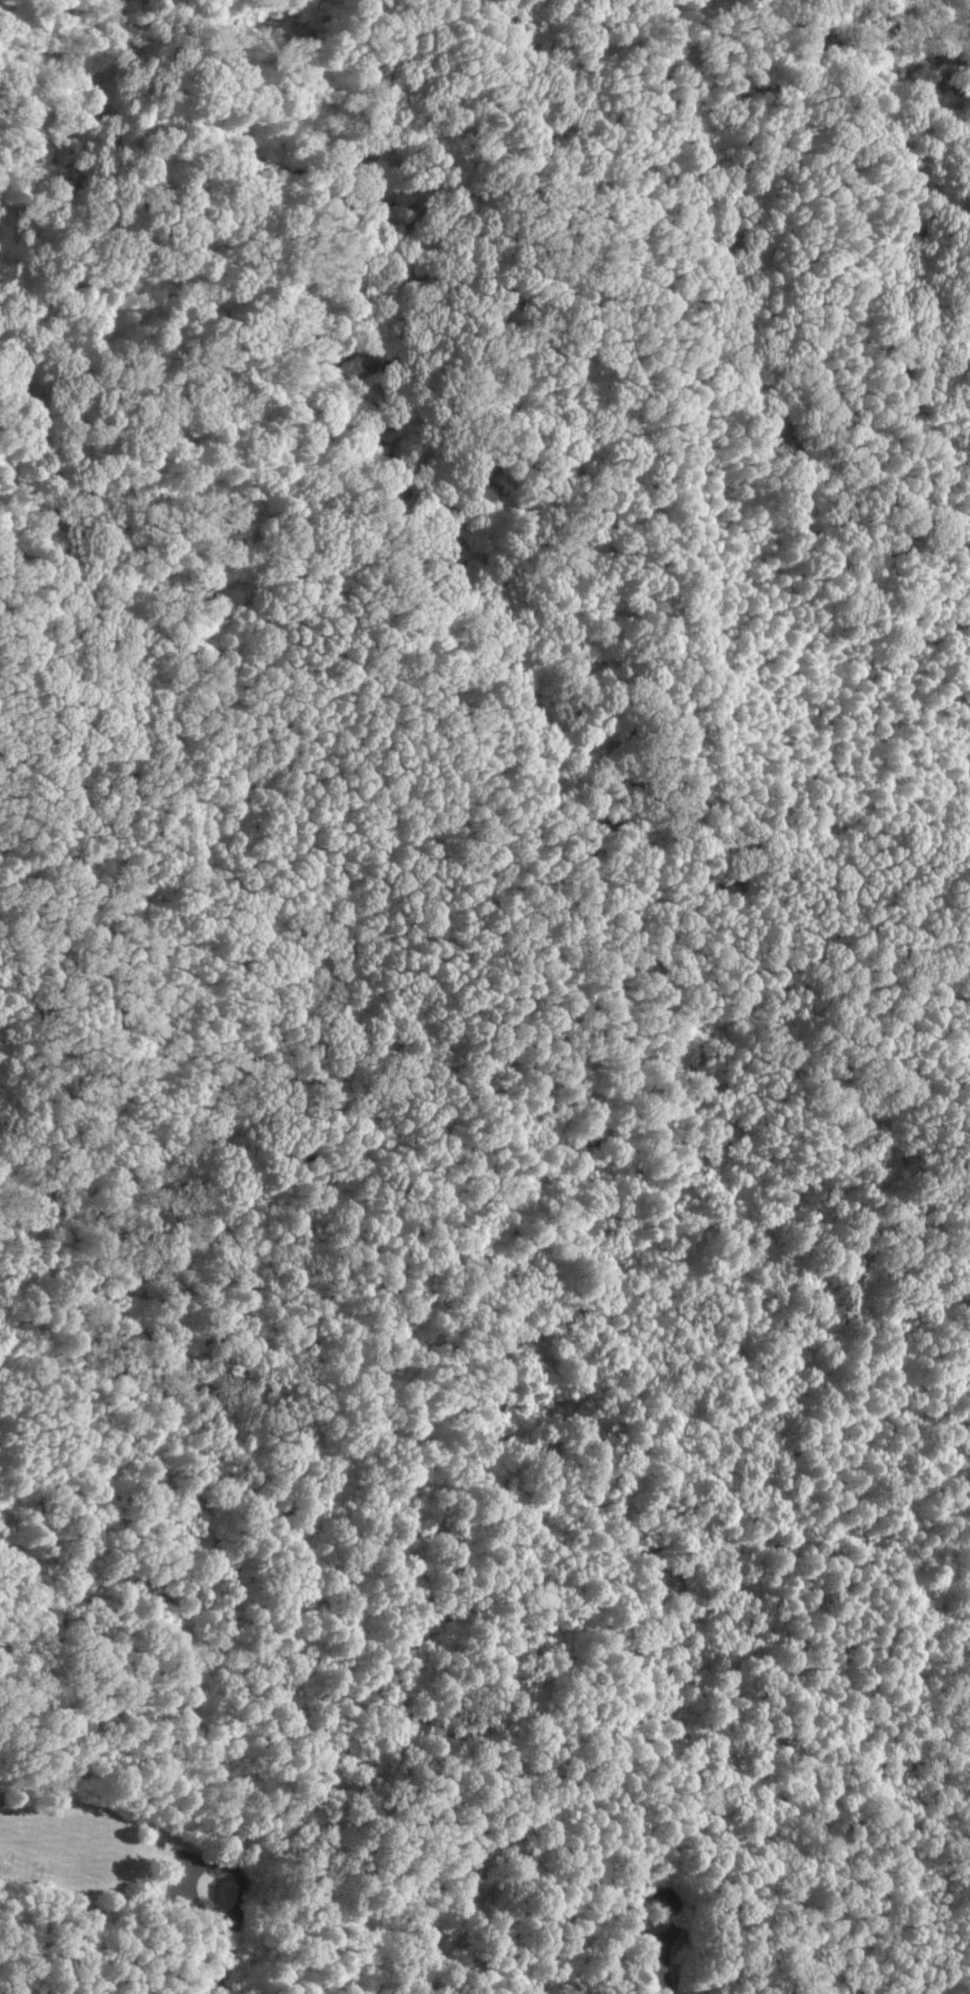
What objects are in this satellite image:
road: (788, 1544)
road: (837, 1625)
road: (203, 1863)
parking lot: (184, 1881)
road: (648, 1889)
road: (887, 1953)
road: (229, 1961)
road: (665, 1969)

